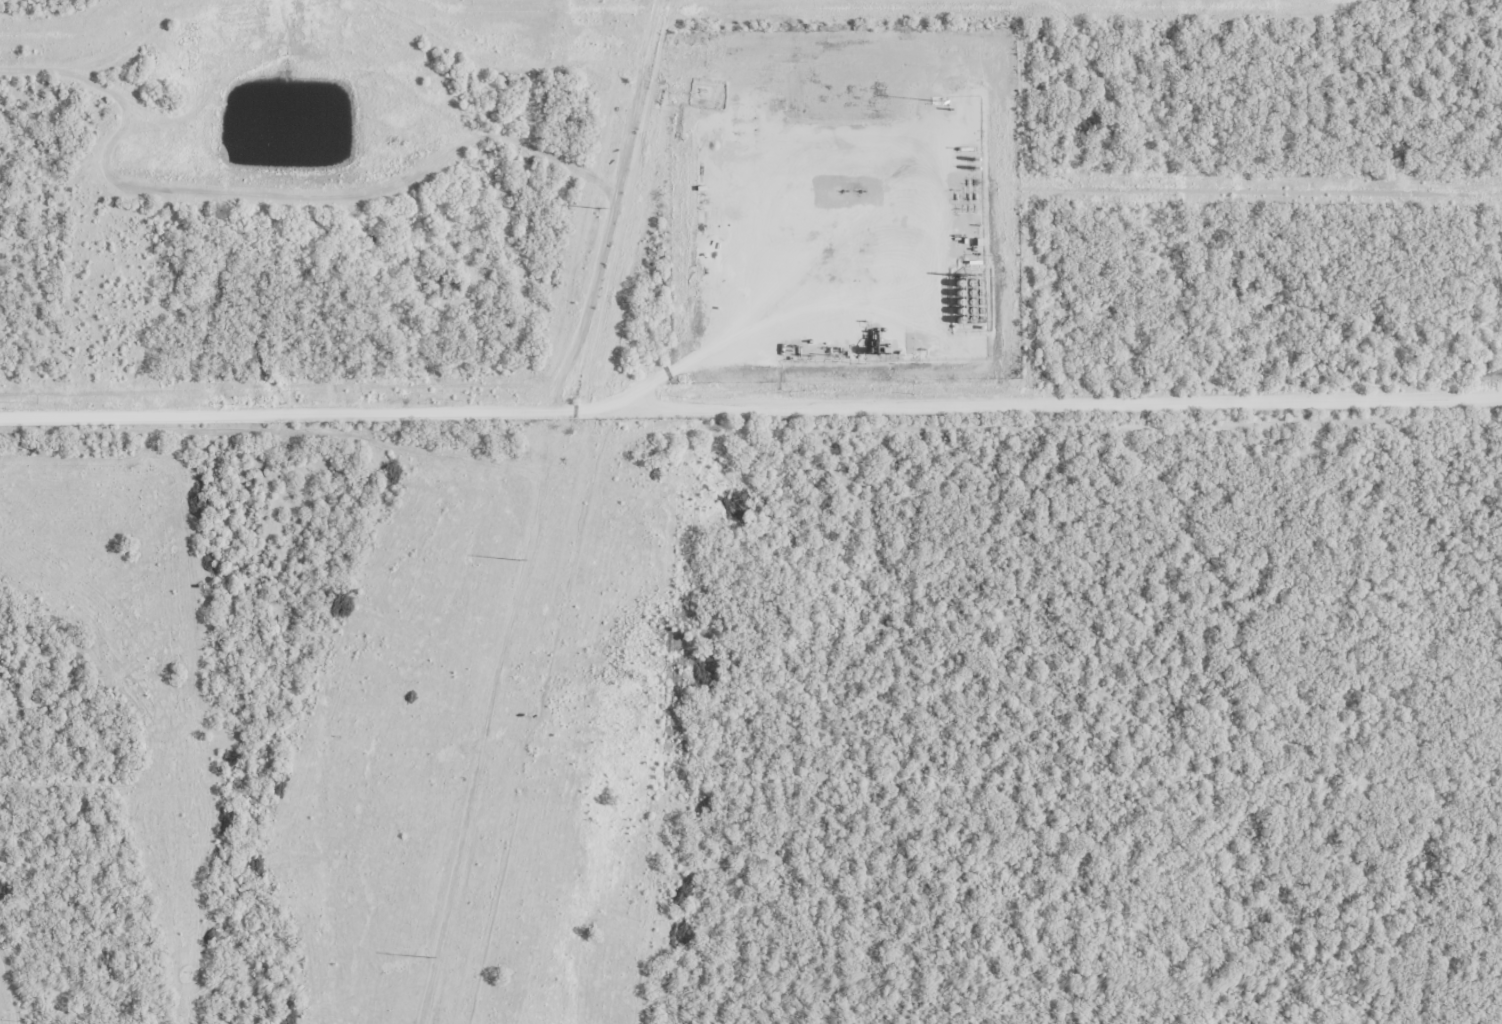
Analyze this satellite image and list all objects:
power tower: (597, 207)
power tower: (517, 559)
power tower: (427, 955)

